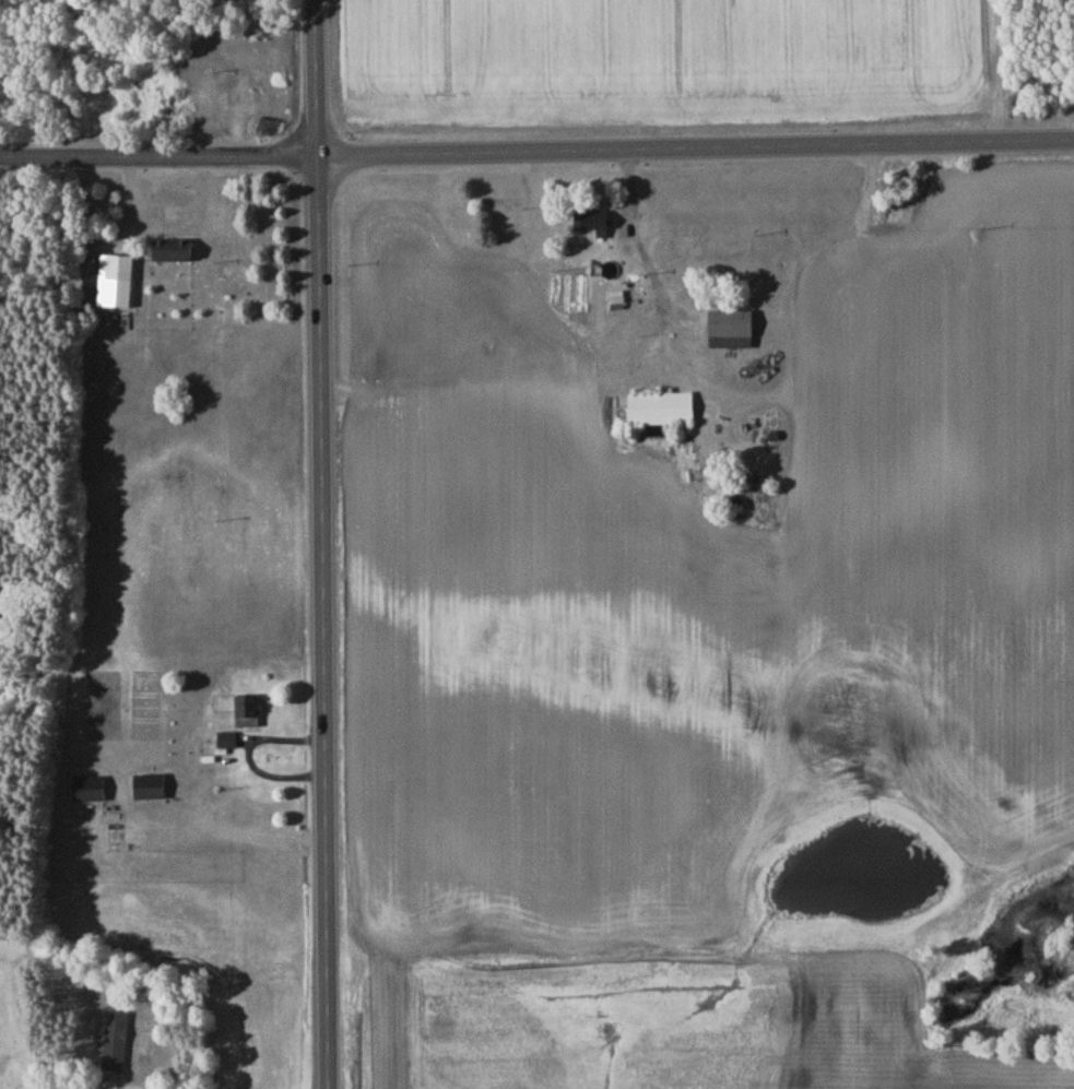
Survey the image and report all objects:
road: (1073, 137)
road: (536, 152)
building: (593, 224)
building: (174, 253)
building: (118, 286)
building: (732, 333)
road: (594, 377)
building: (662, 412)
road: (321, 544)
building: (248, 714)
building: (150, 791)
building: (90, 793)
building: (116, 1045)

